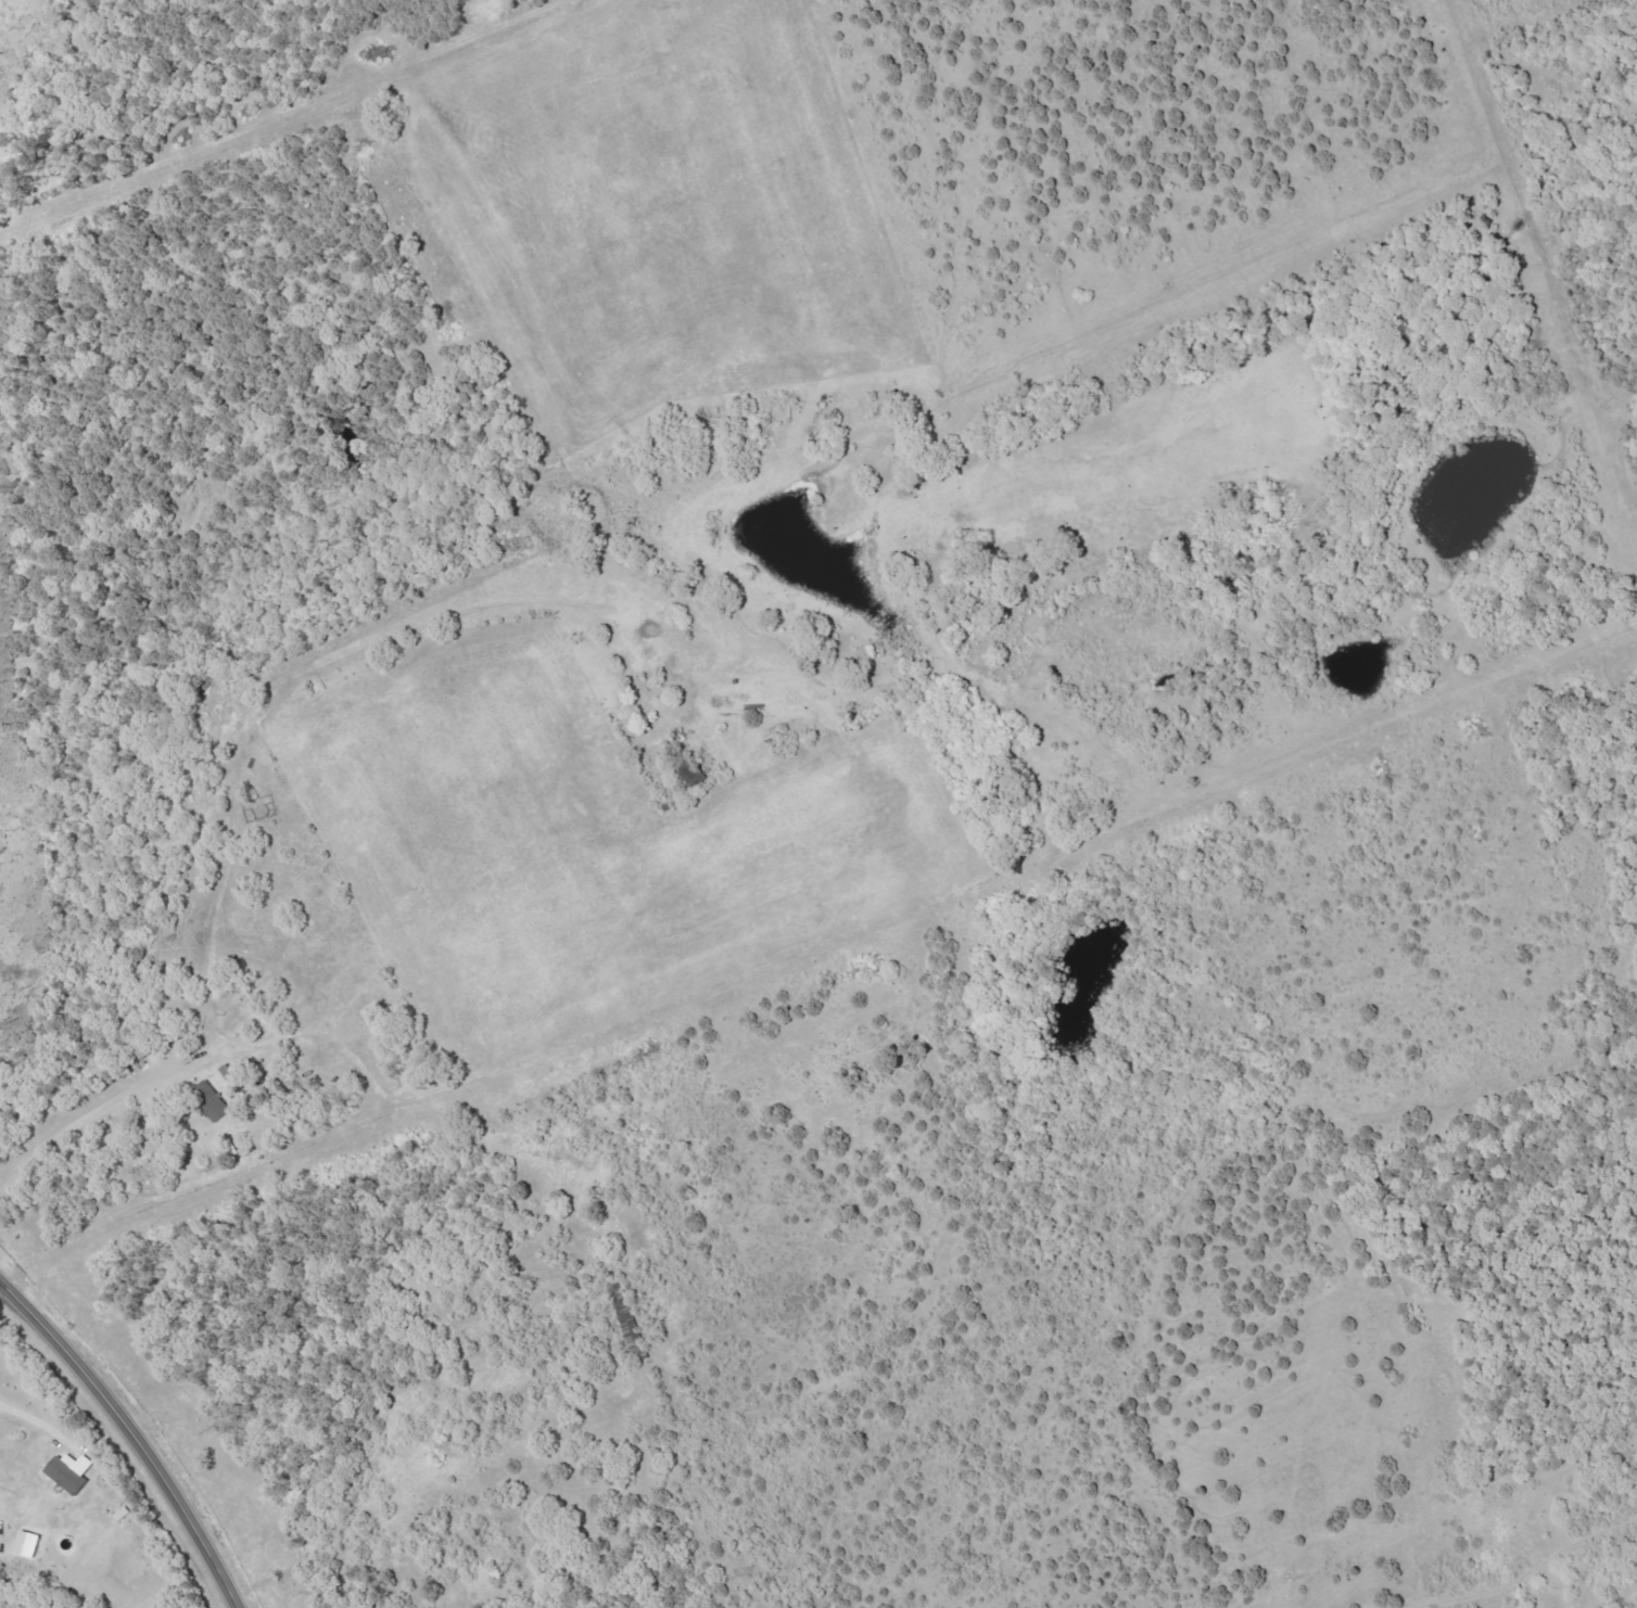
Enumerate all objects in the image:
building: (214, 1105)
road: (75, 1120)
road: (37, 1421)
road: (130, 1438)
building: (72, 1471)
building: (29, 1544)

